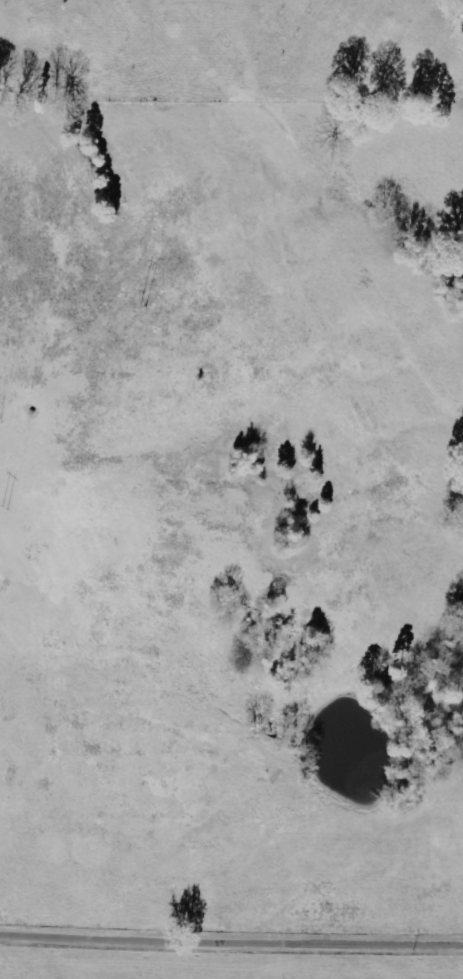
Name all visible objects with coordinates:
power tower: (143, 311)
power tower: (5, 510)
road: (231, 946)

